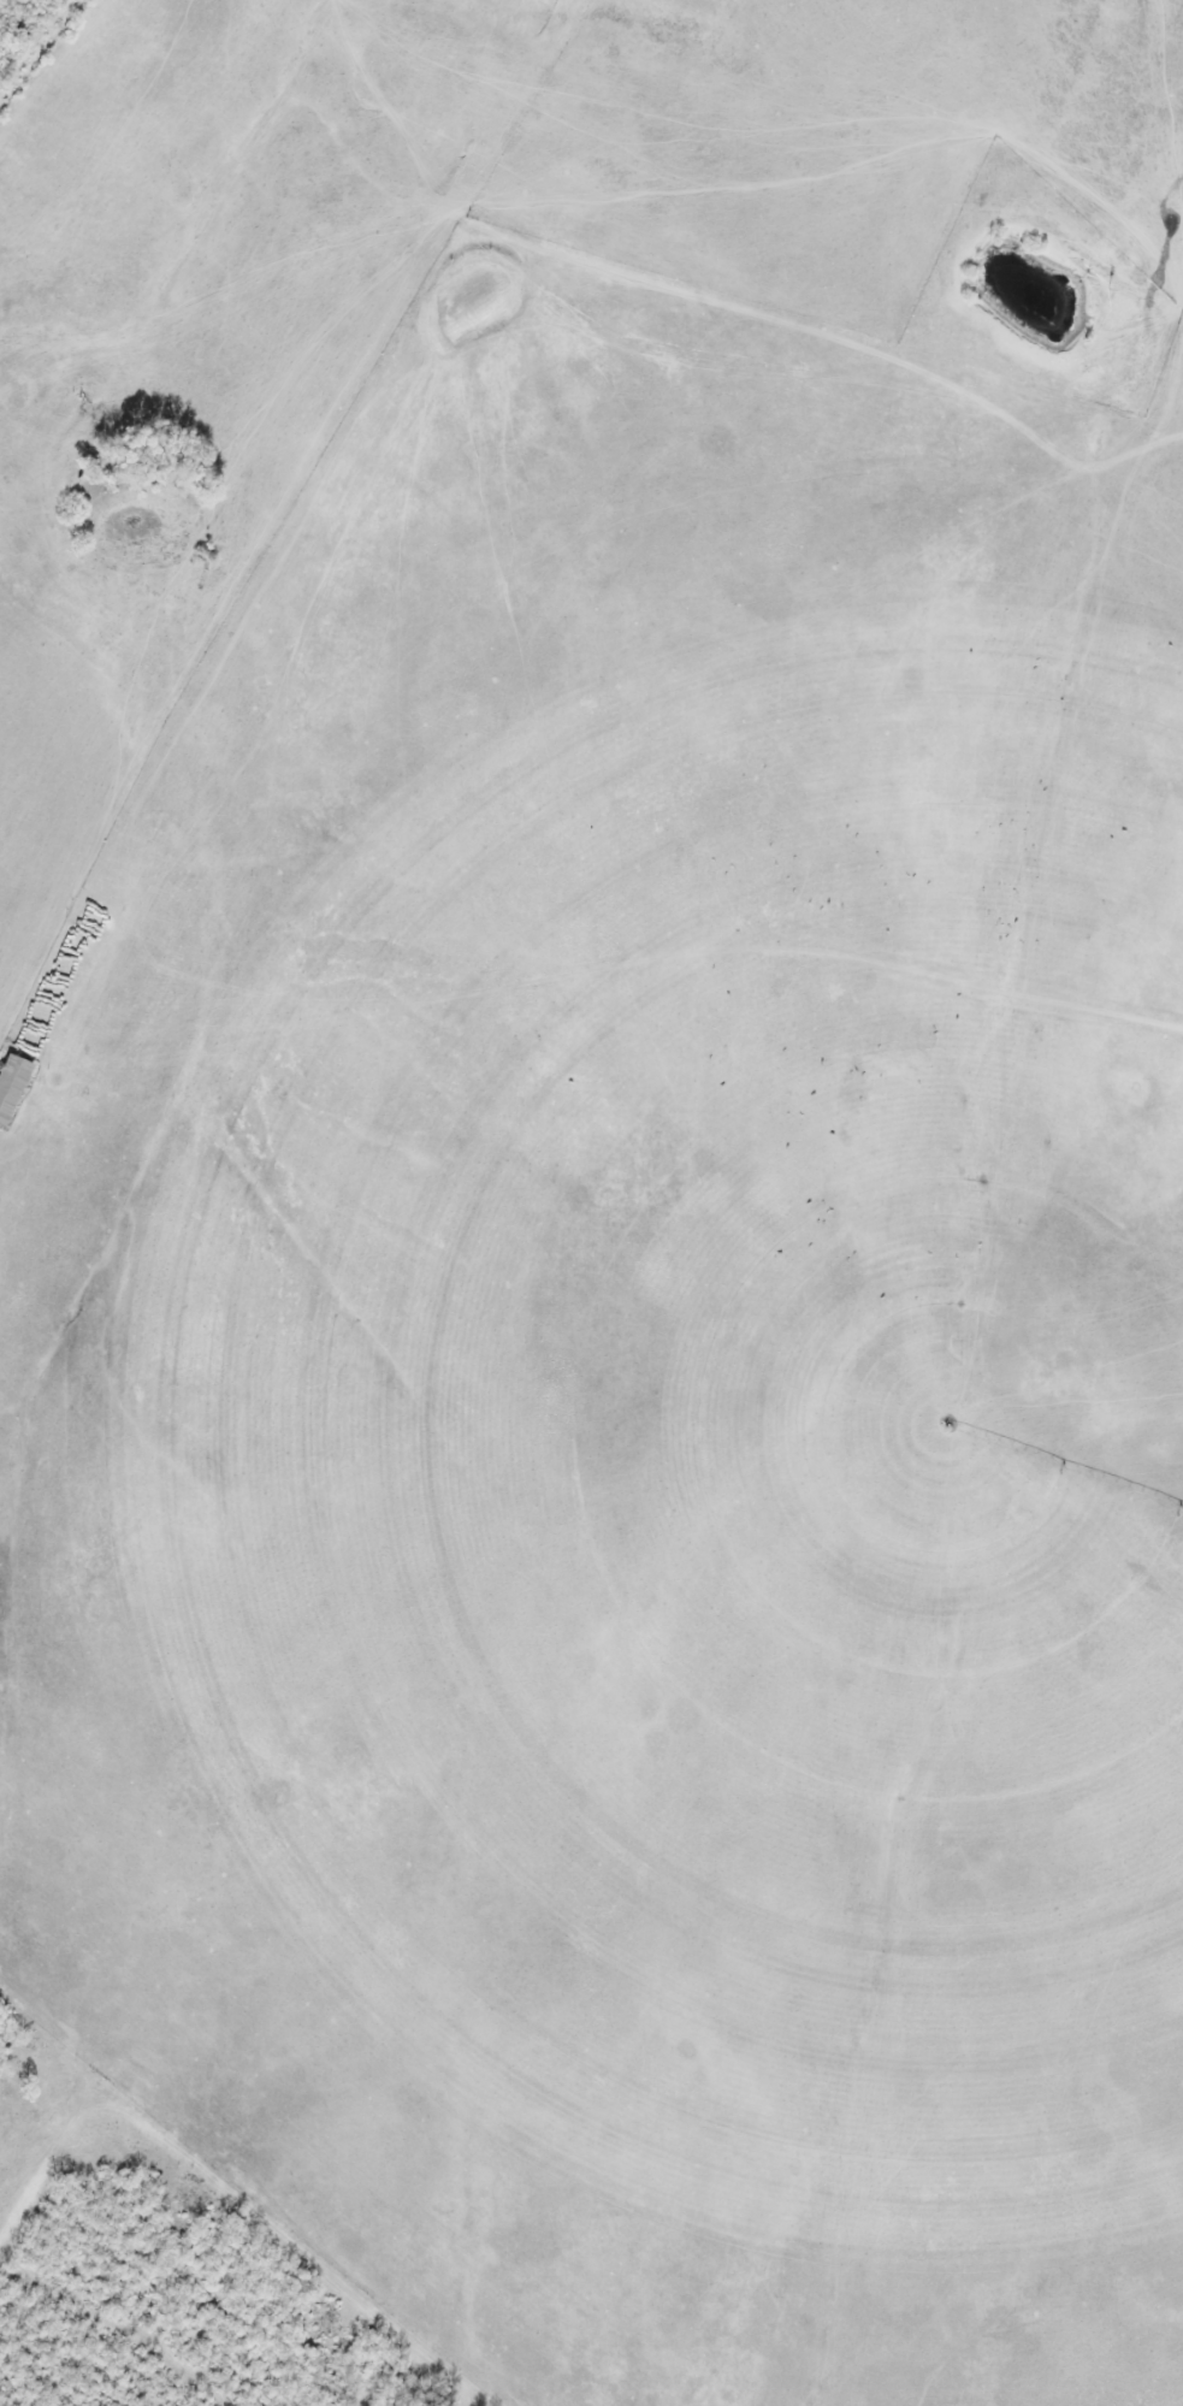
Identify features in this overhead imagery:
building: (12, 1083)

